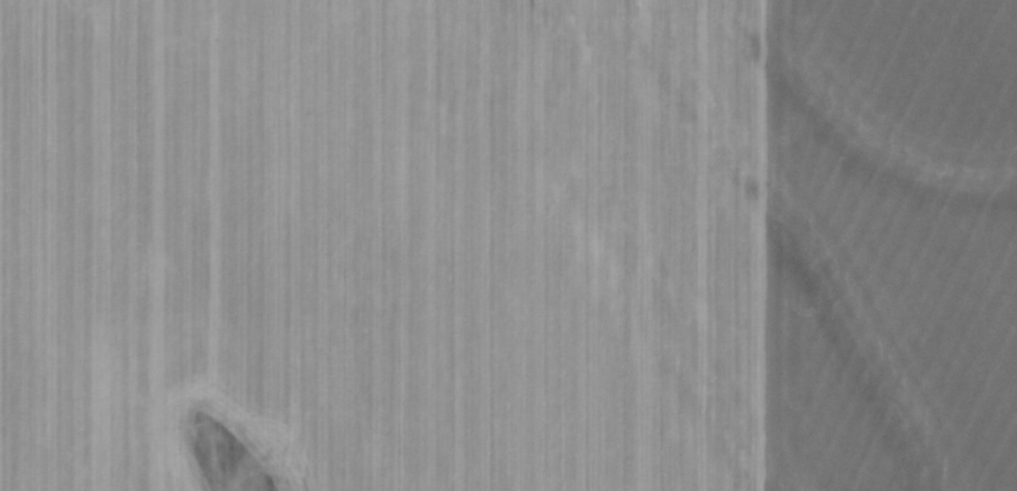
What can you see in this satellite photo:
crop: (508, 245)

